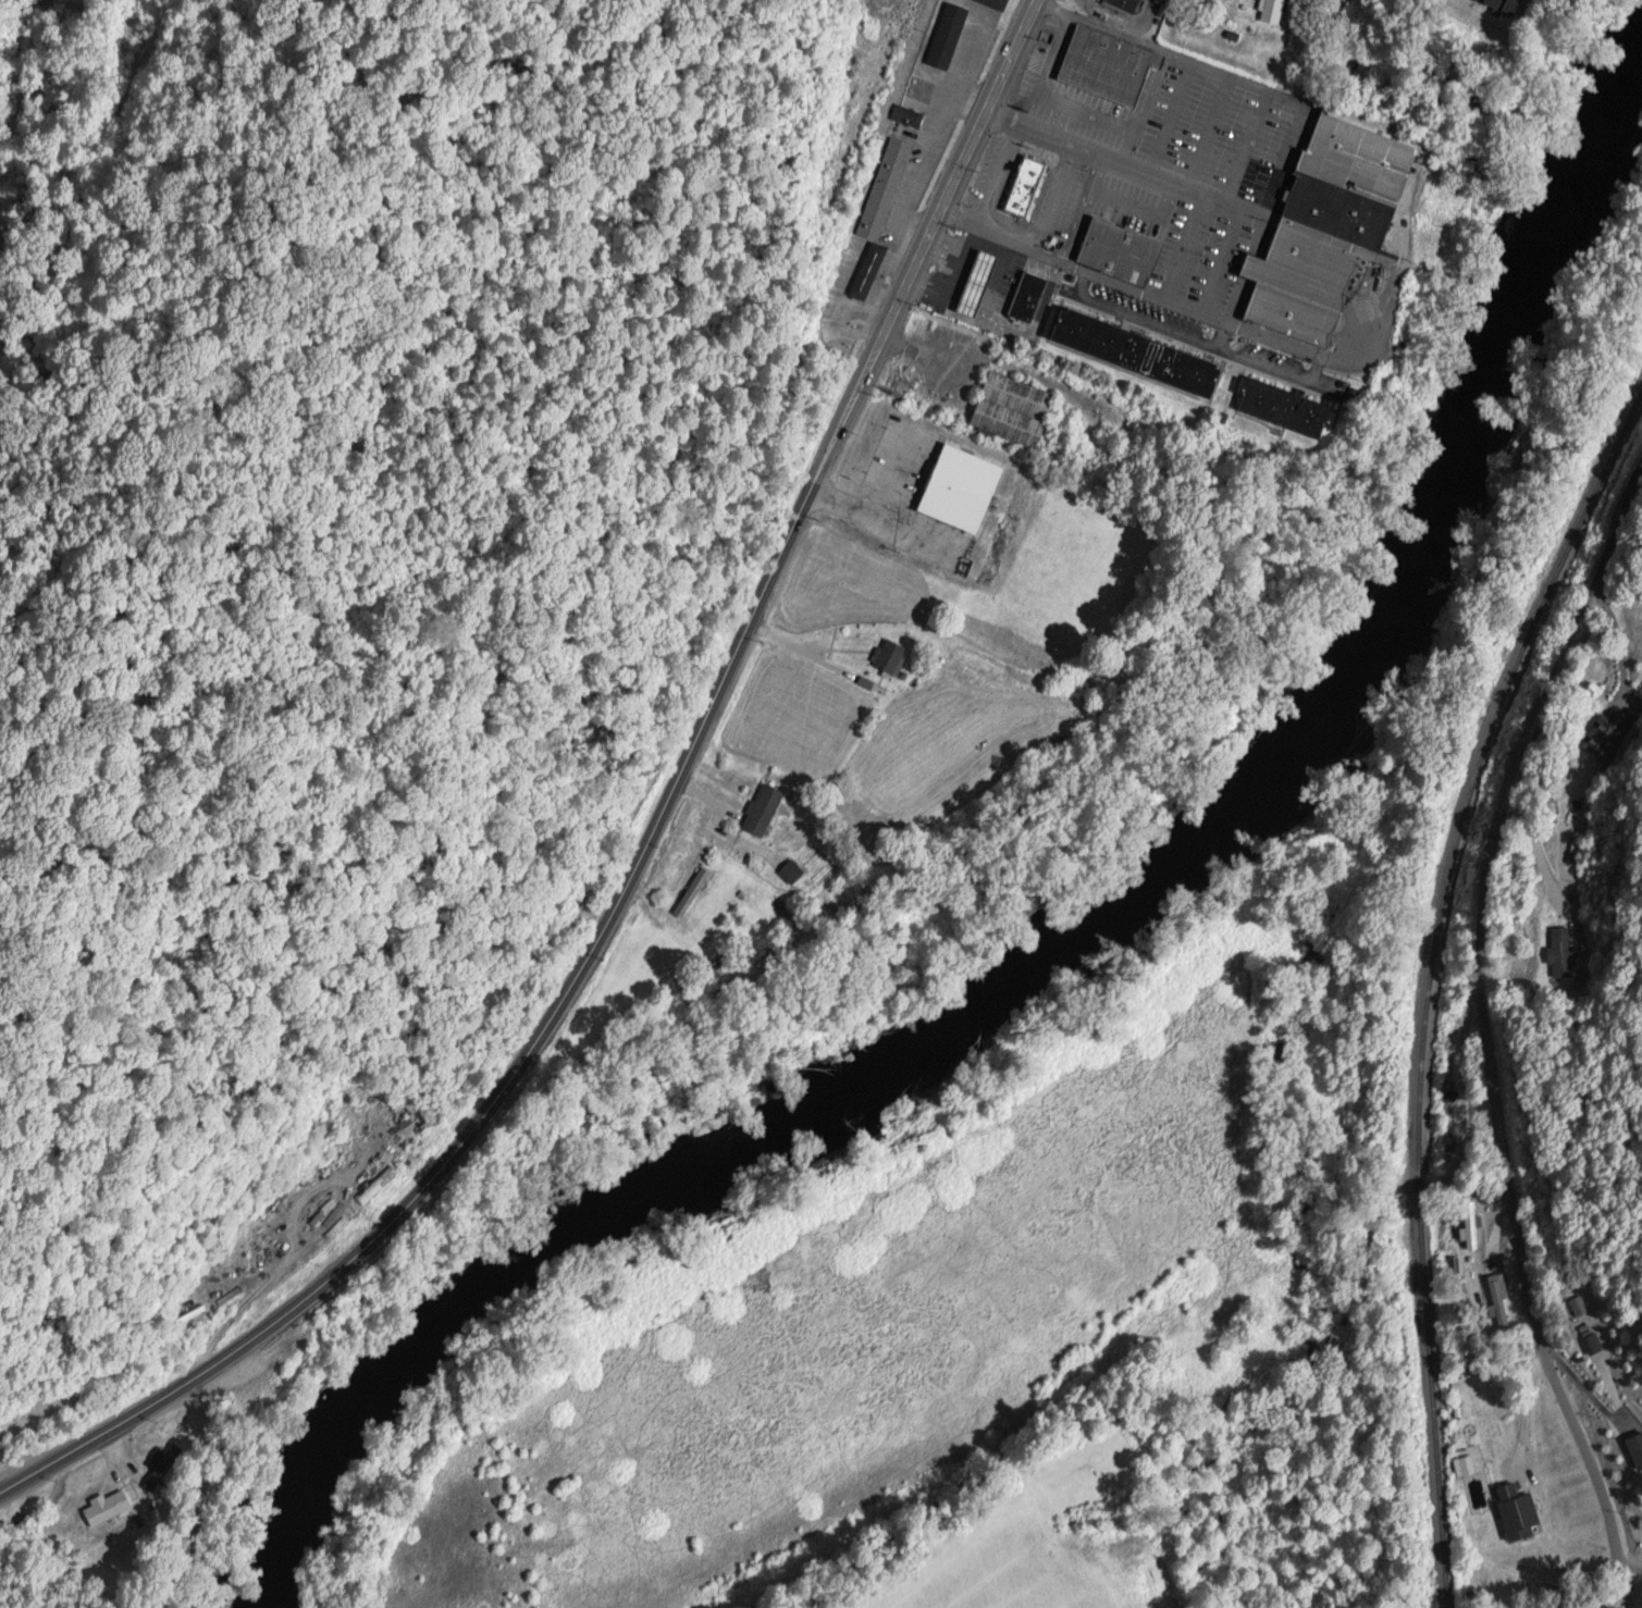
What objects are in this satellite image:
building: (1447, 1)
building: (993, 3)
building: (1268, 10)
building: (1505, 16)
building: (946, 36)
building: (1104, 64)
road: (1243, 79)
road: (1048, 97)
road: (1140, 106)
building: (904, 115)
road: (1169, 116)
road: (1055, 119)
road: (1207, 131)
road: (1245, 145)
road: (1125, 163)
road: (997, 175)
building: (1023, 186)
building: (882, 188)
road: (1051, 197)
road: (1139, 207)
road: (1082, 208)
building: (1324, 227)
road: (1182, 246)
building: (1116, 250)
road: (1221, 261)
road: (1248, 263)
building: (865, 271)
building: (974, 283)
building: (1025, 297)
road: (1235, 298)
road: (1181, 307)
building: (1132, 352)
building: (1281, 407)
building: (1010, 409)
building: (887, 661)
building: (1603, 732)
building: (760, 809)
road: (644, 845)
building: (789, 870)
building: (582, 888)
building: (690, 892)
river: (1069, 921)
building: (1560, 952)
railway: (1430, 979)
road: (1484, 1027)
building: (372, 1186)
road: (1404, 1192)
building: (1497, 1303)
building: (1576, 1306)
crop: (855, 1322)
building: (1591, 1343)
building: (1634, 1448)
building: (103, 1507)
building: (1514, 1510)

